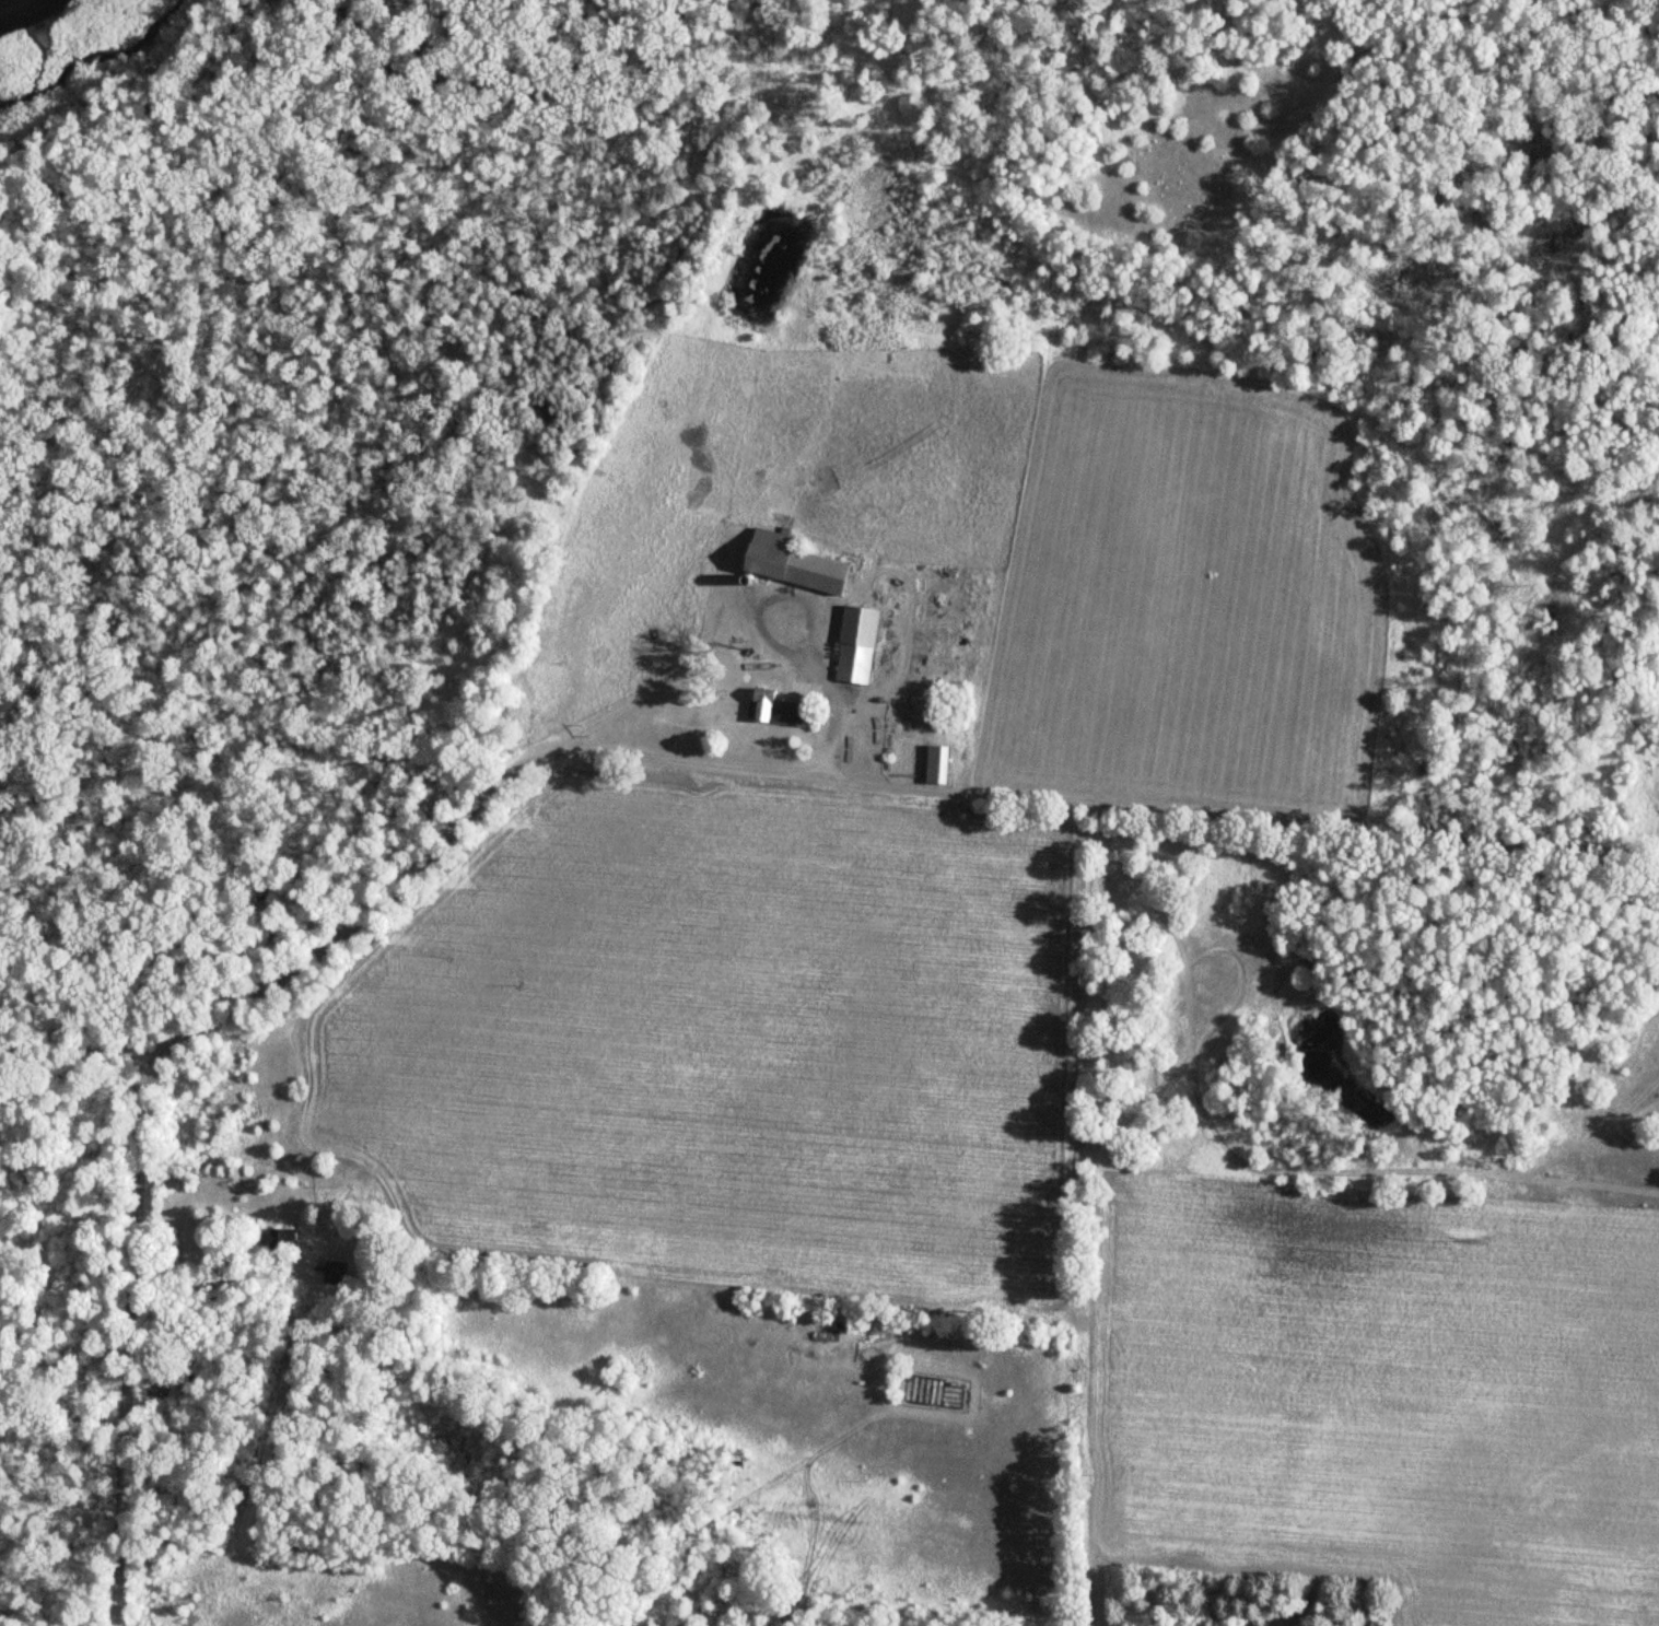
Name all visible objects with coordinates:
river: (9, 3)
building: (796, 564)
building: (855, 641)
road: (778, 647)
road: (799, 677)
road: (659, 685)
road: (841, 695)
building: (776, 709)
road: (449, 815)
road: (1239, 823)
building: (332, 1275)
road: (138, 1346)

